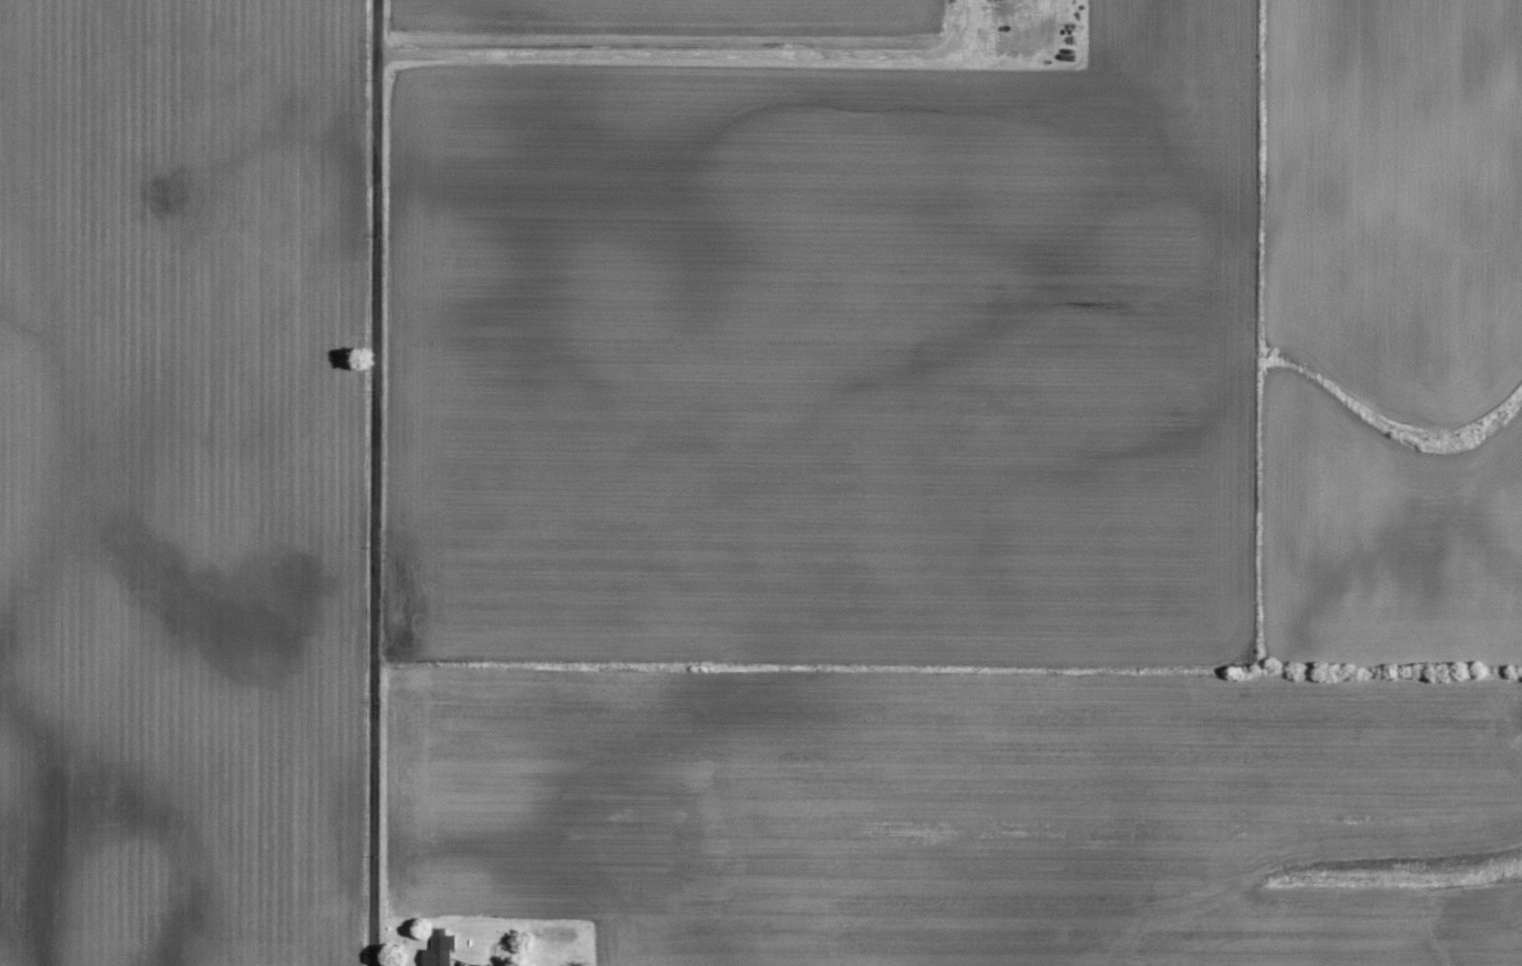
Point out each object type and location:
road: (689, 53)
road: (376, 482)
building: (443, 949)

